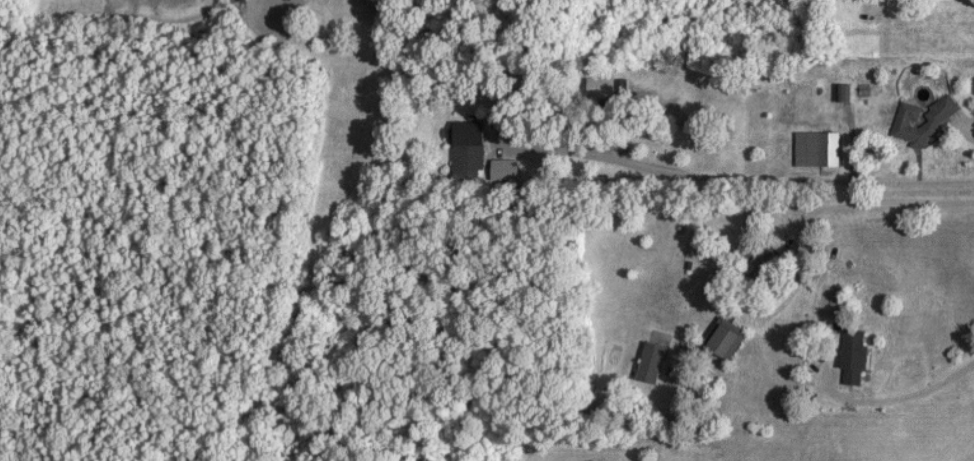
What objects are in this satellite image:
building: (907, 121)
road: (927, 128)
building: (470, 143)
building: (817, 150)
road: (725, 180)
road: (826, 206)
building: (761, 265)
building: (726, 340)
building: (854, 358)
building: (653, 363)
road: (903, 398)

